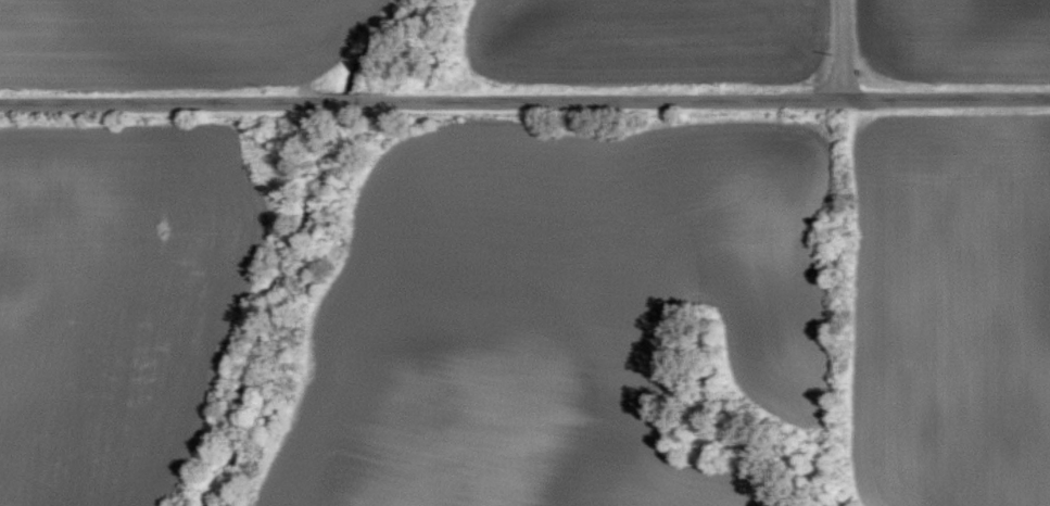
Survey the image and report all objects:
road: (844, 48)
road: (524, 98)

